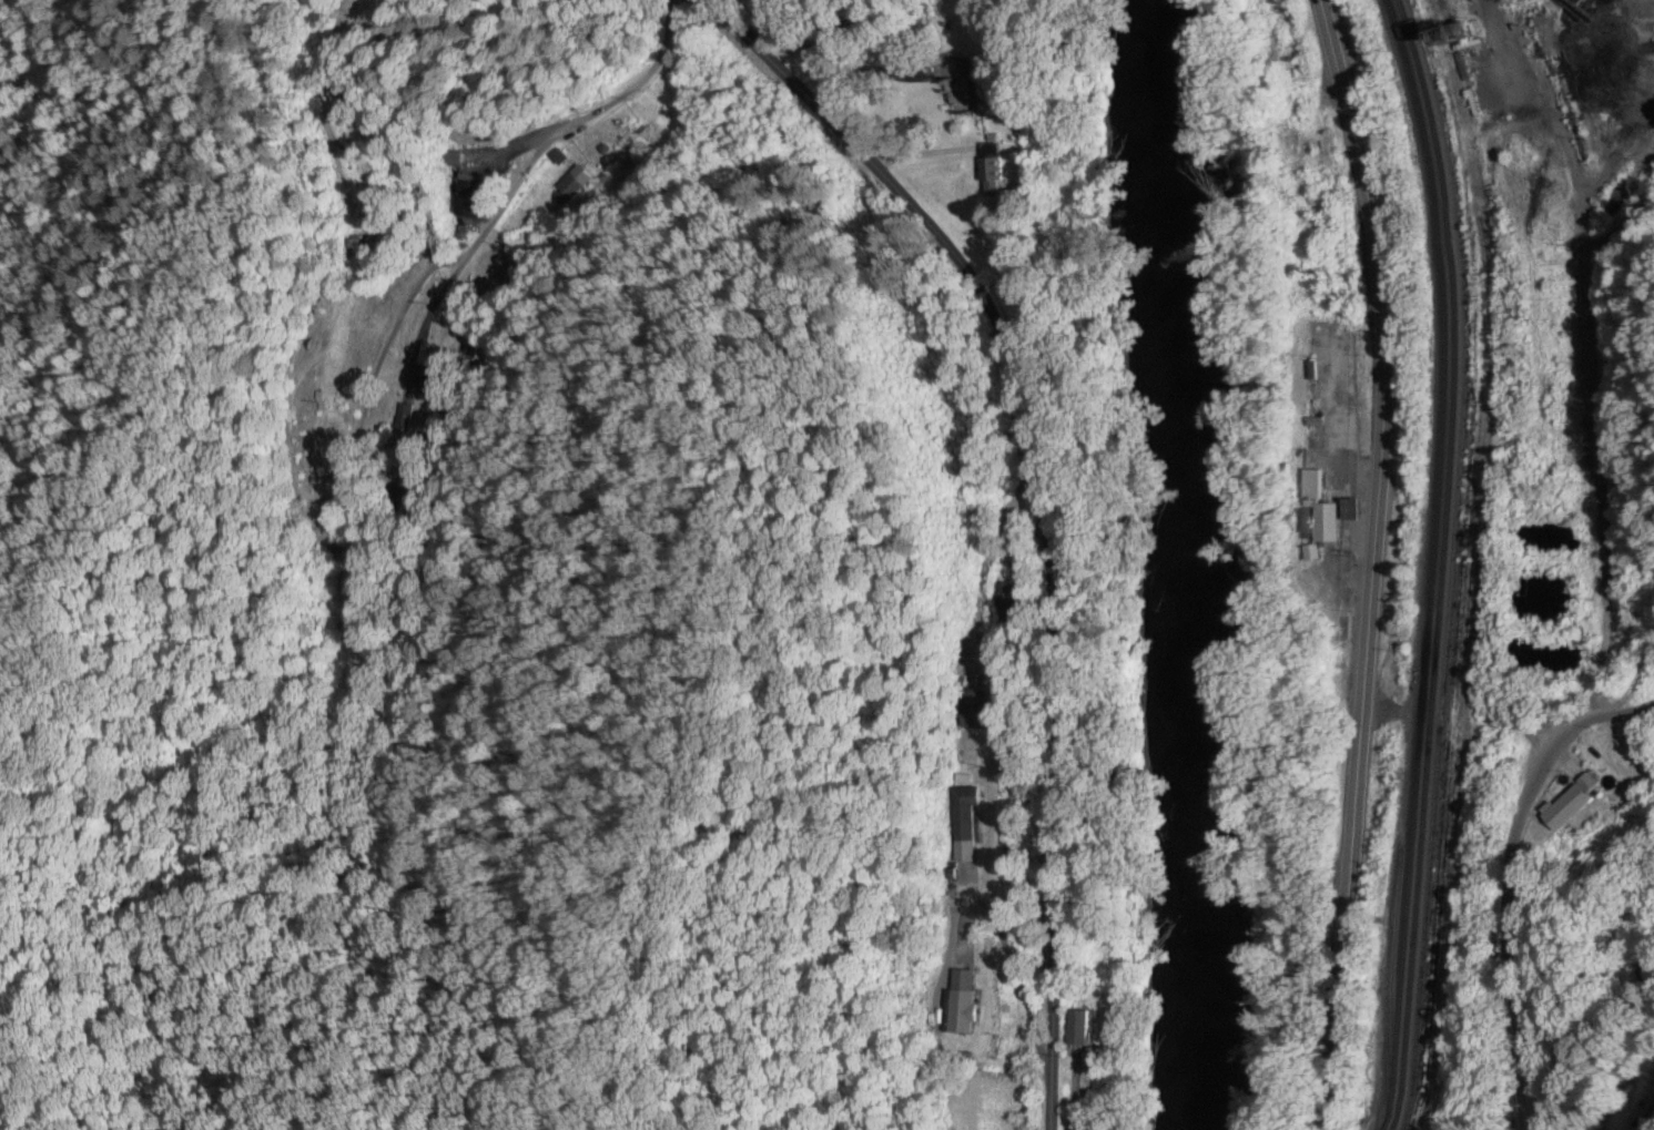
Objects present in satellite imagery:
building: (955, 88)
road: (1570, 149)
road: (542, 156)
building: (988, 172)
building: (571, 186)
building: (471, 197)
building: (351, 248)
building: (427, 369)
building: (402, 417)
building: (332, 442)
road: (1034, 501)
road: (1600, 520)
building: (1323, 521)
river: (1205, 562)
road: (1371, 562)
railway: (1434, 562)
building: (973, 709)
road: (1382, 711)
road: (1600, 716)
road: (1522, 733)
building: (1566, 798)
building: (965, 822)
road: (1508, 933)
building: (961, 1001)
building: (1076, 1027)
building: (1088, 1058)
building: (1647, 1110)

